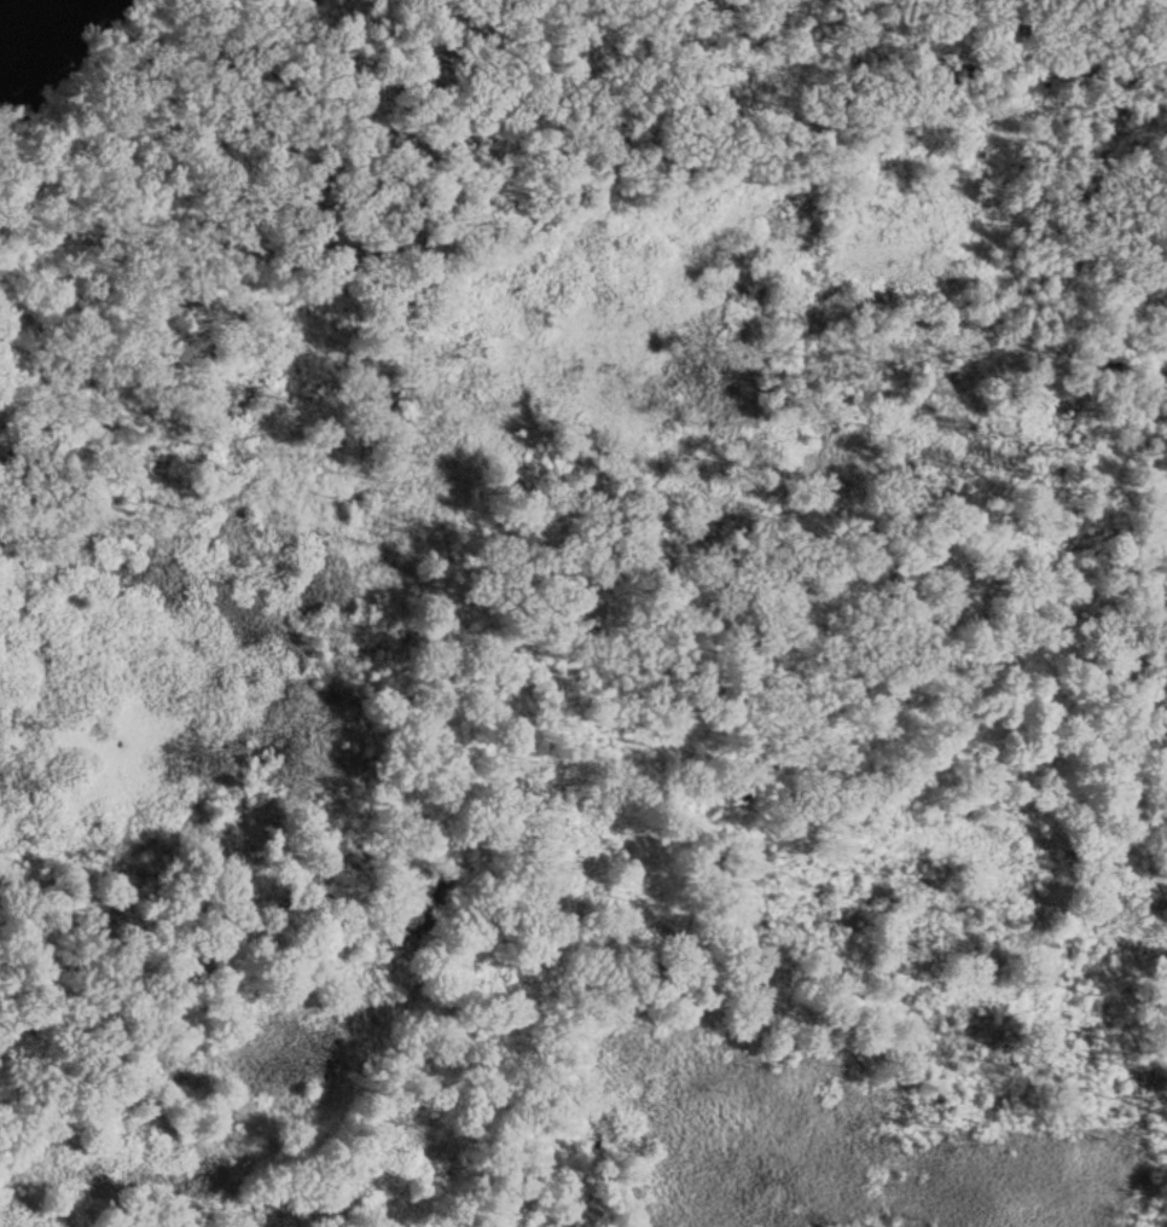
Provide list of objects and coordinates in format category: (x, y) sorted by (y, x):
river: (29, 29)

